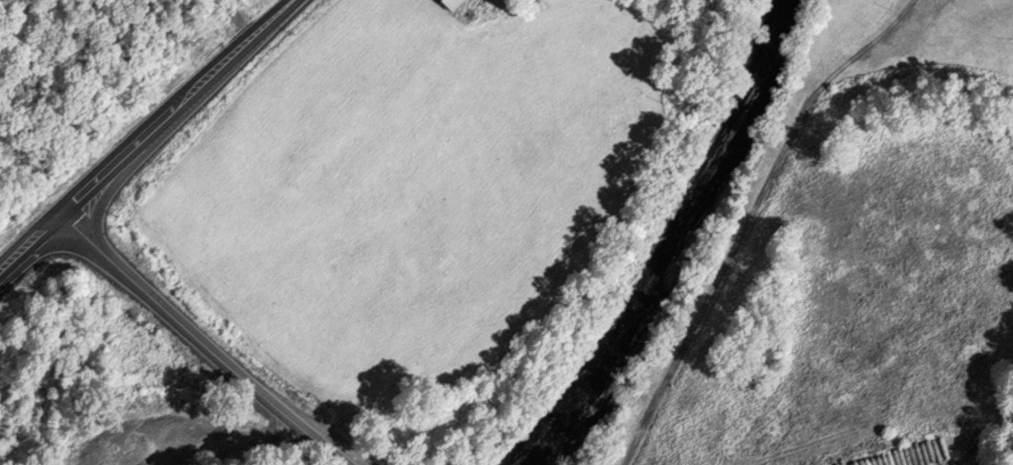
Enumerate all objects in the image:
building: (453, 4)
park: (989, 18)
park: (915, 41)
road: (150, 138)
road: (750, 217)
river: (680, 247)
road: (204, 345)

